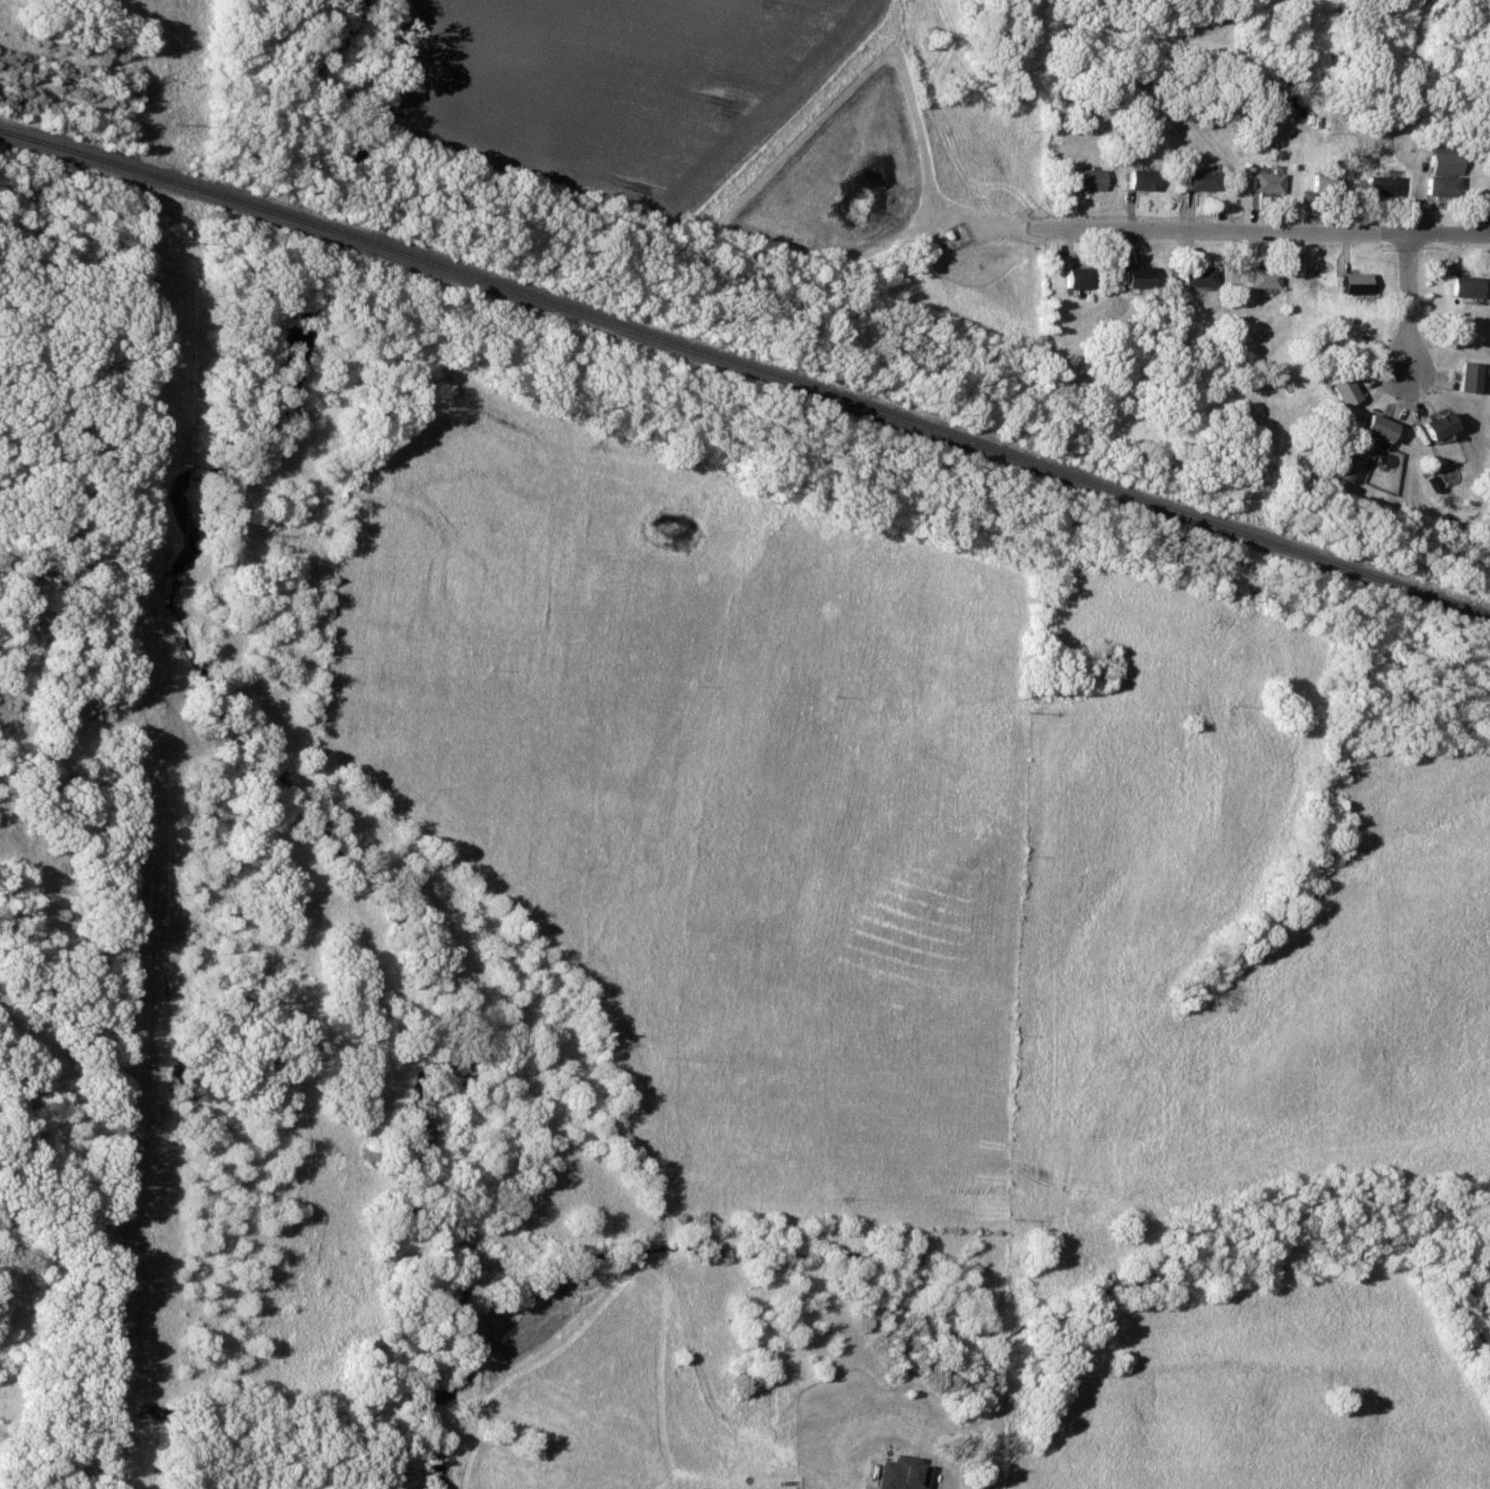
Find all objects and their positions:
river: (275, 91)
building: (1440, 171)
building: (1084, 180)
building: (1137, 180)
building: (1197, 180)
building: (1263, 182)
building: (1320, 184)
building: (1378, 186)
river: (238, 204)
road: (1251, 232)
building: (1073, 277)
building: (1135, 277)
building: (1196, 277)
building: (1262, 278)
building: (1351, 283)
building: (1461, 287)
road: (1408, 303)
railway: (746, 369)
building: (1465, 376)
building: (1338, 390)
building: (1429, 423)
building: (1370, 431)
building: (1341, 469)
river: (398, 913)
building: (979, 1454)
building: (901, 1485)

